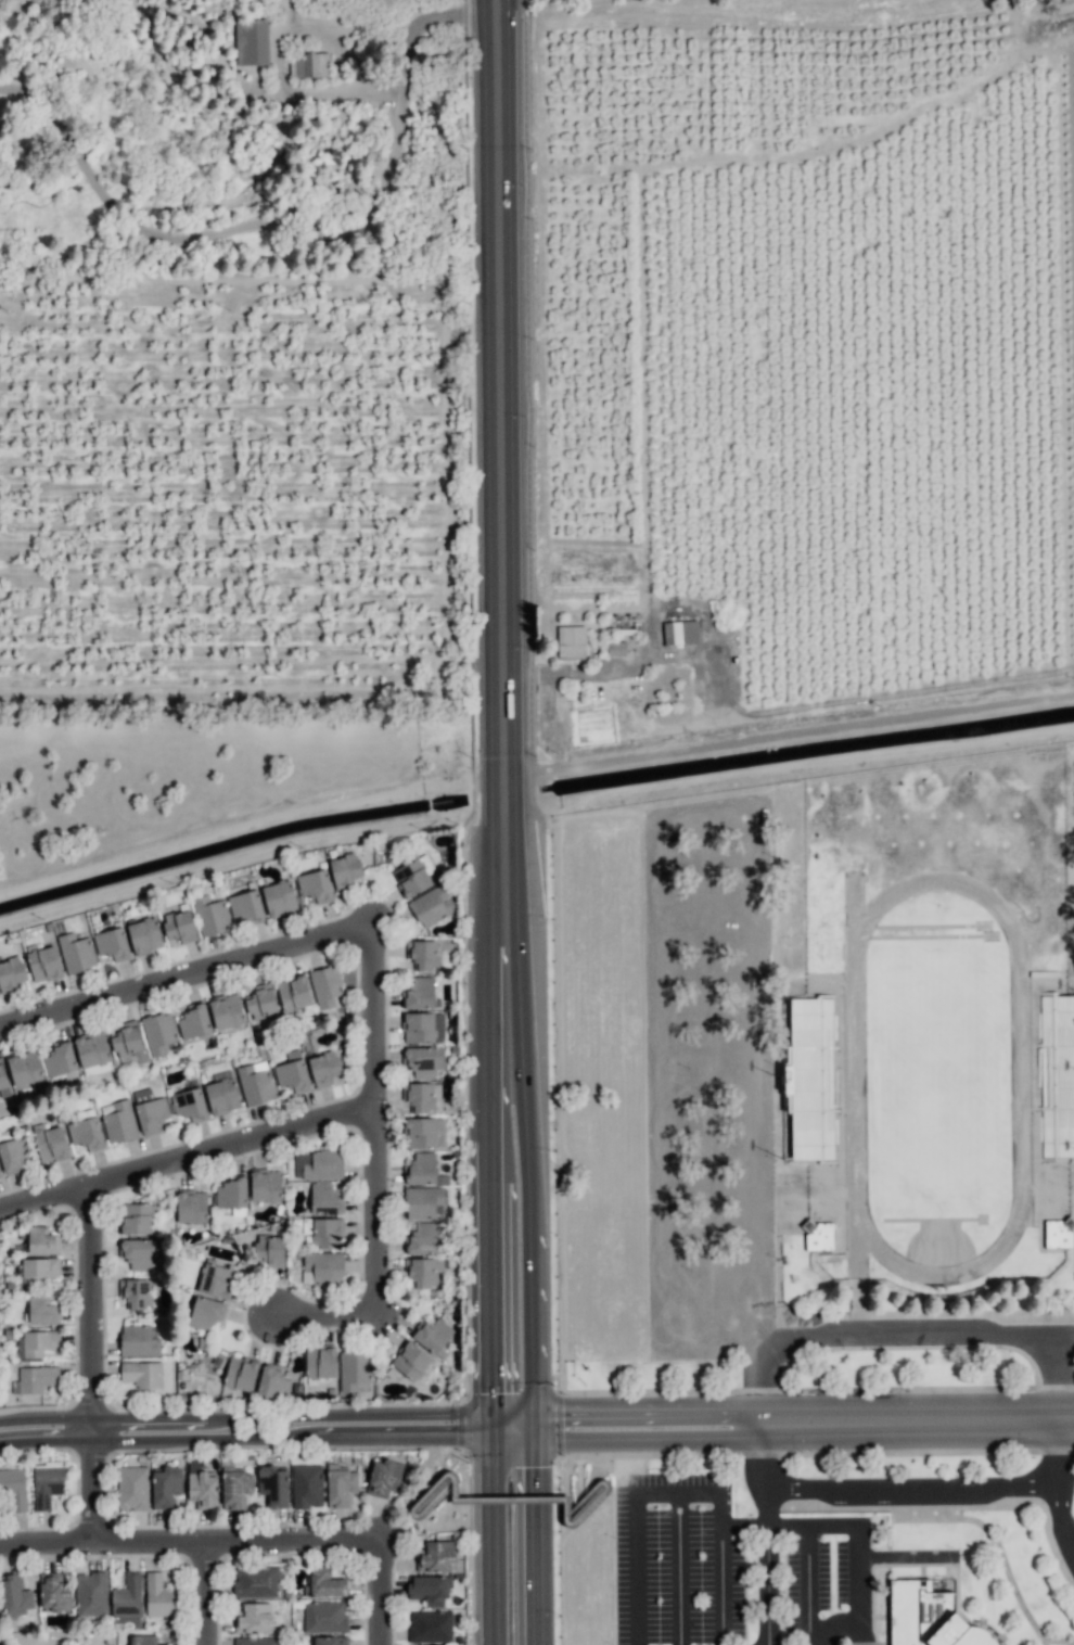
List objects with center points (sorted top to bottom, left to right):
road: (594, 9)
building: (252, 41)
building: (308, 64)
road: (290, 222)
road: (501, 539)
road: (649, 629)
building: (680, 632)
building: (572, 641)
building: (616, 648)
road: (789, 732)
building: (344, 870)
building: (413, 876)
building: (315, 885)
building: (279, 897)
building: (432, 906)
building: (246, 907)
building: (210, 915)
building: (179, 926)
building: (145, 935)
building: (112, 944)
building: (76, 953)
building: (423, 954)
building: (43, 962)
building: (11, 974)
road: (186, 979)
building: (325, 985)
building: (294, 993)
building: (419, 994)
building: (261, 1003)
building: (226, 1011)
building: (194, 1022)
building: (423, 1028)
building: (158, 1032)
building: (128, 1045)
building: (60, 1060)
building: (423, 1060)
building: (324, 1068)
building: (24, 1069)
building: (293, 1075)
building: (2, 1077)
building: (811, 1079)
building: (255, 1083)
building: (221, 1094)
building: (421, 1096)
building: (190, 1105)
building: (150, 1110)
building: (118, 1121)
road: (374, 1124)
building: (87, 1132)
building: (424, 1133)
building: (50, 1143)
building: (15, 1155)
road: (187, 1162)
building: (319, 1164)
building: (423, 1170)
building: (266, 1185)
building: (232, 1196)
building: (324, 1199)
building: (424, 1202)
building: (192, 1207)
building: (136, 1219)
building: (323, 1230)
building: (1058, 1234)
building: (819, 1236)
building: (422, 1238)
building: (41, 1240)
road: (493, 1245)
building: (270, 1250)
building: (136, 1253)
road: (529, 1255)
building: (40, 1267)
building: (322, 1267)
building: (423, 1272)
building: (215, 1280)
building: (136, 1292)
building: (42, 1311)
building: (206, 1312)
road: (327, 1322)
road: (906, 1334)
building: (433, 1337)
building: (138, 1341)
building: (36, 1343)
building: (410, 1361)
building: (320, 1362)
road: (90, 1367)
building: (355, 1370)
building: (142, 1374)
building: (241, 1374)
building: (35, 1379)
building: (273, 1382)
road: (511, 1411)
road: (645, 1414)
road: (245, 1415)
road: (493, 1423)
road: (916, 1423)
road: (644, 1433)
road: (265, 1437)
road: (1056, 1453)
building: (384, 1477)
building: (47, 1483)
building: (202, 1484)
building: (166, 1485)
building: (273, 1485)
building: (307, 1485)
building: (340, 1485)
road: (920, 1485)
building: (14, 1488)
building: (132, 1488)
building: (235, 1489)
road: (677, 1490)
building: (432, 1496)
road: (768, 1499)
road: (785, 1525)
road: (1070, 1534)
road: (493, 1539)
road: (529, 1539)
road: (190, 1544)
road: (902, 1556)
building: (436, 1557)
road: (678, 1568)
road: (856, 1571)
building: (256, 1581)
building: (324, 1583)
building: (430, 1589)
building: (54, 1593)
road: (381, 1593)
building: (91, 1594)
road: (202, 1594)
building: (16, 1595)
building: (159, 1596)
building: (127, 1602)
building: (324, 1617)
building: (929, 1617)
building: (254, 1618)
building: (430, 1627)
building: (144, 1640)
building: (256, 1641)
building: (330, 1641)

